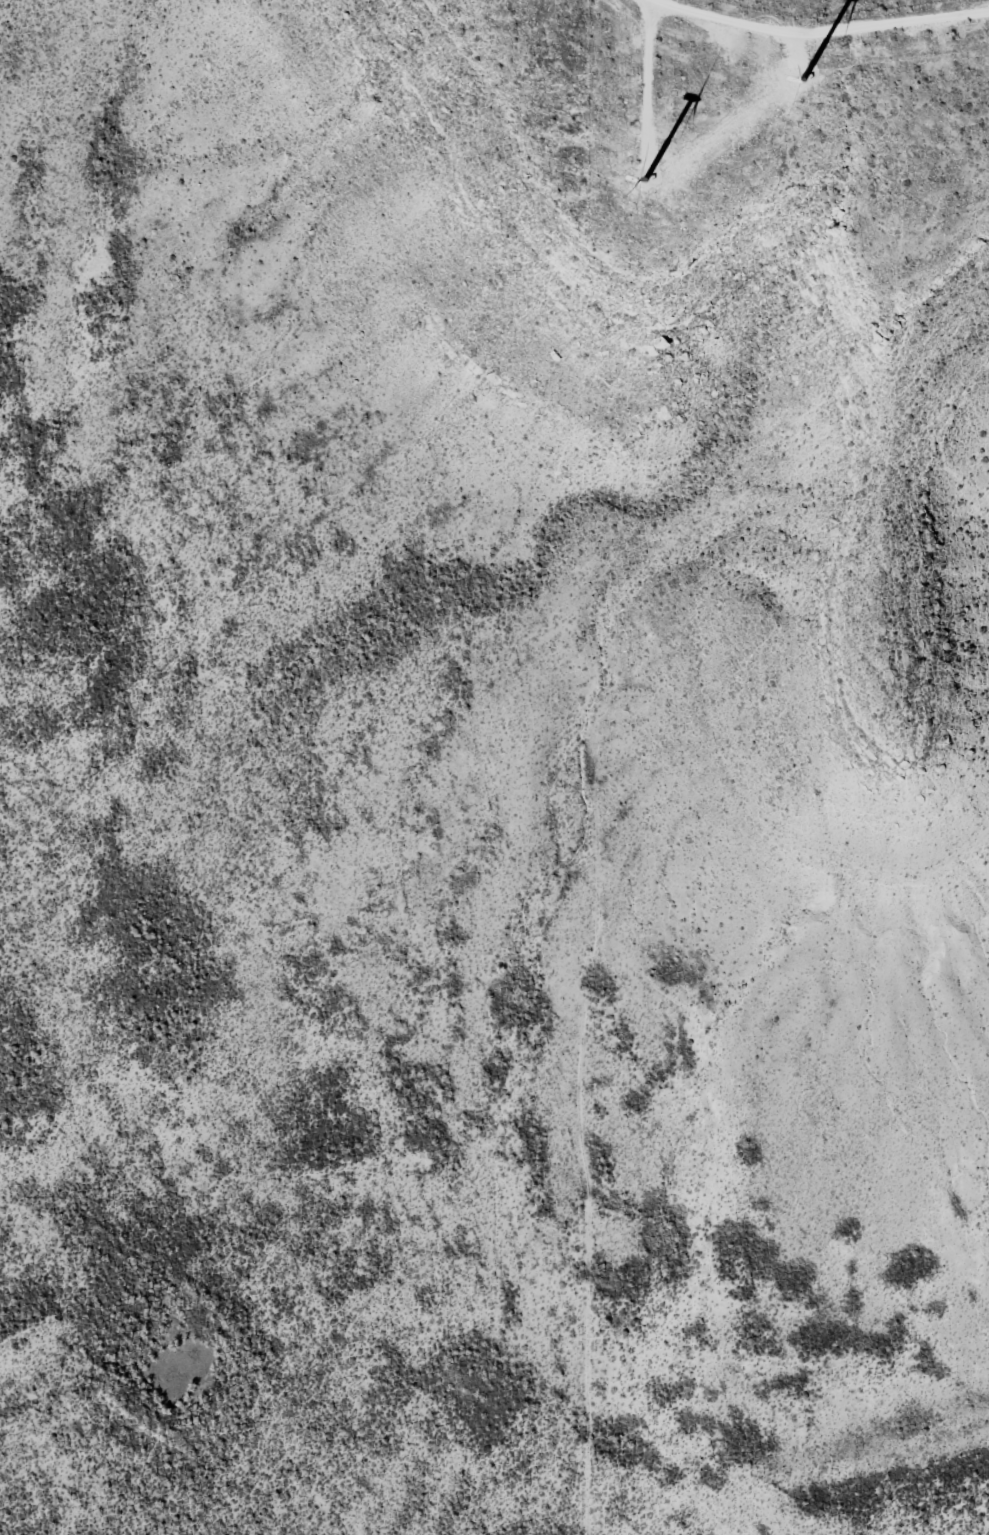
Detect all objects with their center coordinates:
wind turbine: (787, 81)
wind turbine: (630, 184)

